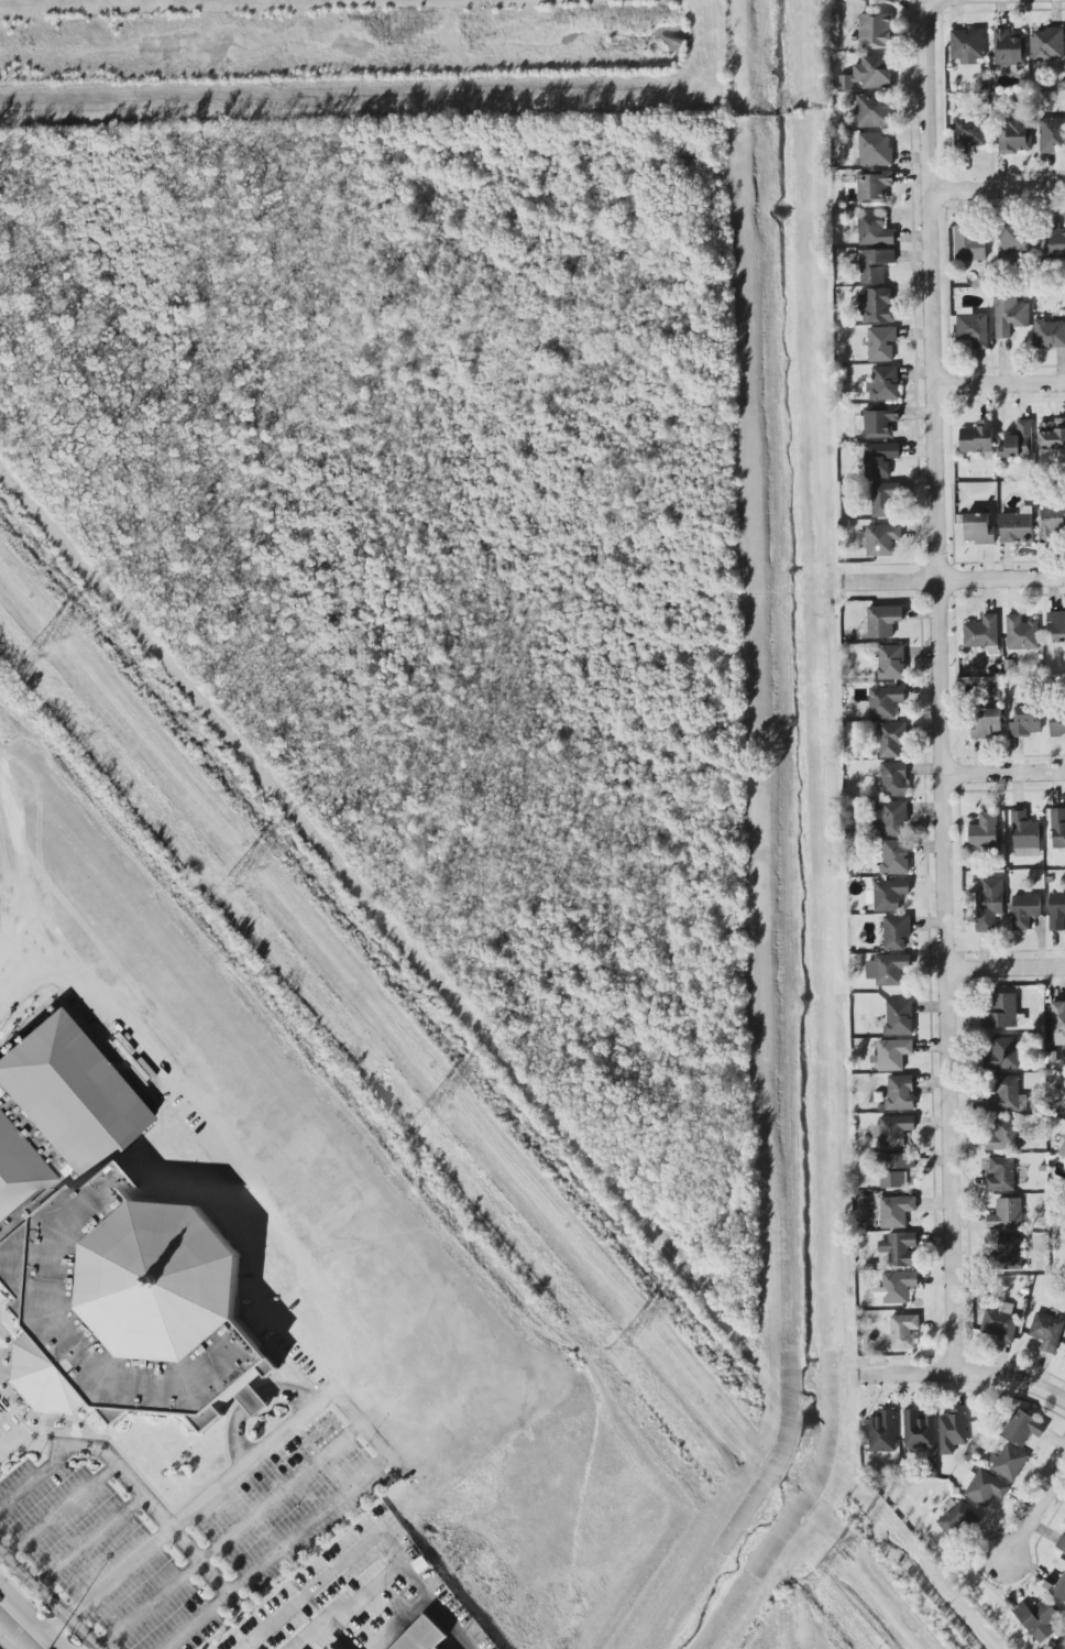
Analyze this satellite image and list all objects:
building: (892, 0)
road: (987, 2)
building: (875, 30)
building: (1047, 44)
building: (967, 45)
building: (1009, 47)
building: (869, 73)
building: (872, 112)
building: (969, 133)
building: (1052, 133)
building: (1015, 135)
building: (876, 149)
building: (874, 186)
road: (998, 189)
building: (875, 229)
building: (1017, 239)
building: (1055, 239)
building: (969, 245)
building: (876, 264)
building: (877, 305)
building: (1009, 314)
building: (973, 327)
building: (1048, 334)
building: (881, 342)
building: (882, 383)
road: (1001, 383)
building: (878, 421)
building: (1052, 434)
building: (978, 438)
building: (1017, 441)
building: (879, 458)
building: (885, 499)
building: (1051, 524)
building: (1017, 525)
building: (979, 528)
building: (882, 538)
road: (958, 582)
building: (883, 620)
building: (1056, 625)
power tower: (75, 627)
building: (981, 632)
building: (1022, 633)
power tower: (52, 640)
building: (890, 663)
power tower: (31, 665)
road: (942, 688)
building: (995, 692)
building: (886, 701)
building: (1025, 721)
building: (987, 722)
building: (1057, 724)
building: (892, 739)
road: (1003, 774)
building: (893, 778)
building: (893, 816)
building: (1058, 828)
building: (985, 830)
building: (1024, 834)
power tower: (266, 847)
road: (20, 849)
building: (894, 856)
power tower: (249, 870)
power tower: (229, 884)
building: (888, 894)
building: (989, 904)
building: (1024, 910)
building: (1057, 910)
building: (896, 931)
road: (1008, 965)
building: (888, 969)
building: (1002, 1011)
building: (899, 1017)
building: (1058, 1022)
building: (1004, 1052)
building: (890, 1055)
power tower: (466, 1084)
building: (900, 1092)
building: (1004, 1095)
power tower: (449, 1103)
power tower: (426, 1116)
building: (894, 1129)
building: (1004, 1135)
road: (226, 1138)
building: (1062, 1149)
building: (897, 1168)
building: (1001, 1173)
building: (897, 1210)
building: (1006, 1214)
building: (899, 1248)
building: (1010, 1252)
building: (109, 1253)
building: (897, 1286)
power tower: (660, 1299)
power tower: (638, 1320)
building: (1000, 1322)
building: (903, 1331)
building: (1046, 1331)
power tower: (622, 1340)
road: (967, 1374)
road: (325, 1395)
road: (10, 1423)
building: (1022, 1427)
building: (919, 1429)
building: (952, 1430)
building: (882, 1431)
road: (10, 1443)
building: (1008, 1461)
building: (984, 1486)
road: (64, 1509)
road: (1036, 1515)
building: (956, 1518)
road: (228, 1533)
power tower: (859, 1533)
road: (91, 1540)
road: (369, 1541)
building: (1061, 1543)
power tower: (835, 1548)
road: (140, 1553)
power tower: (817, 1568)
building: (1055, 1585)
road: (50, 1597)
building: (1037, 1618)
road: (29, 1619)
building: (421, 1636)
road: (8, 1641)
building: (333, 1648)

